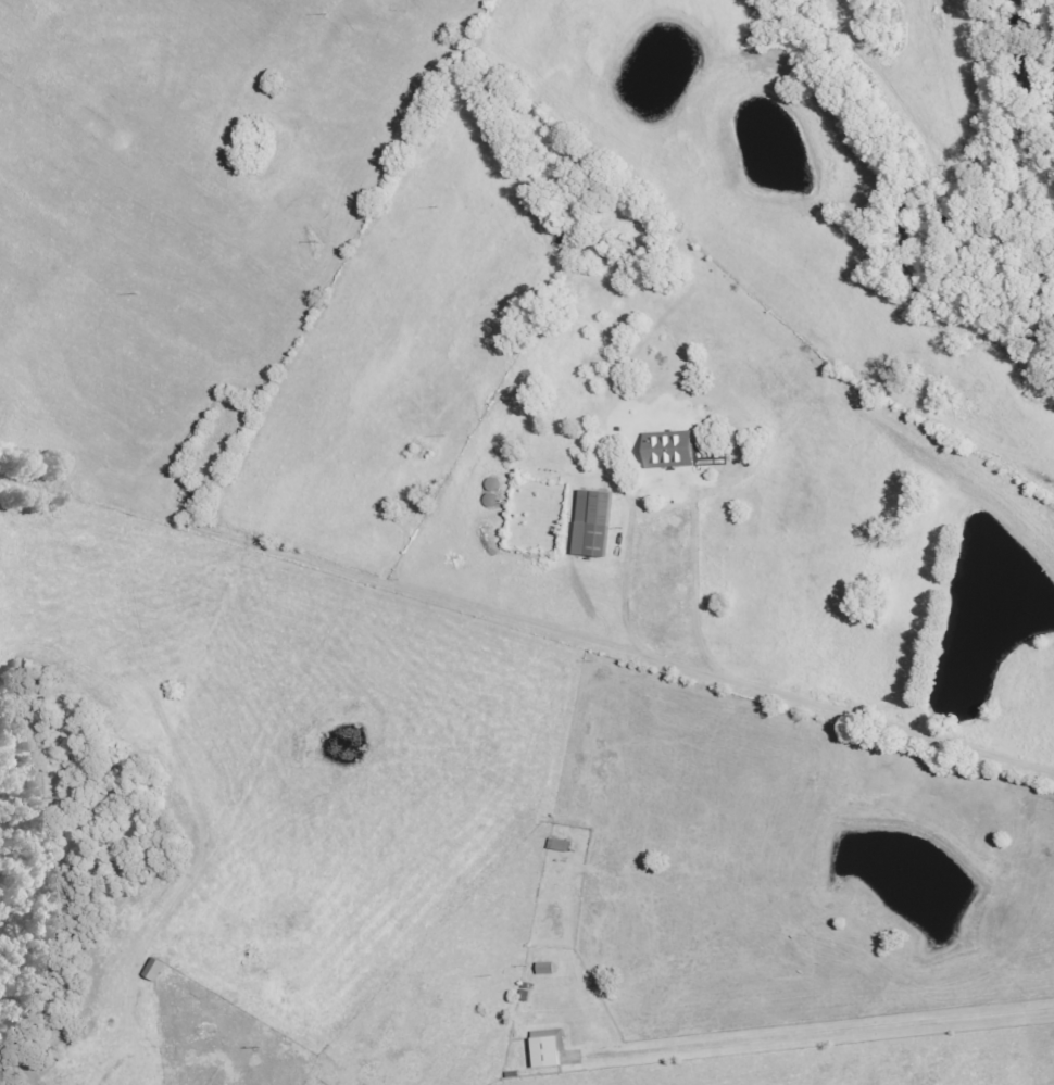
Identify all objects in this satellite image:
building: (663, 451)
building: (589, 523)
building: (548, 969)
building: (550, 1048)

